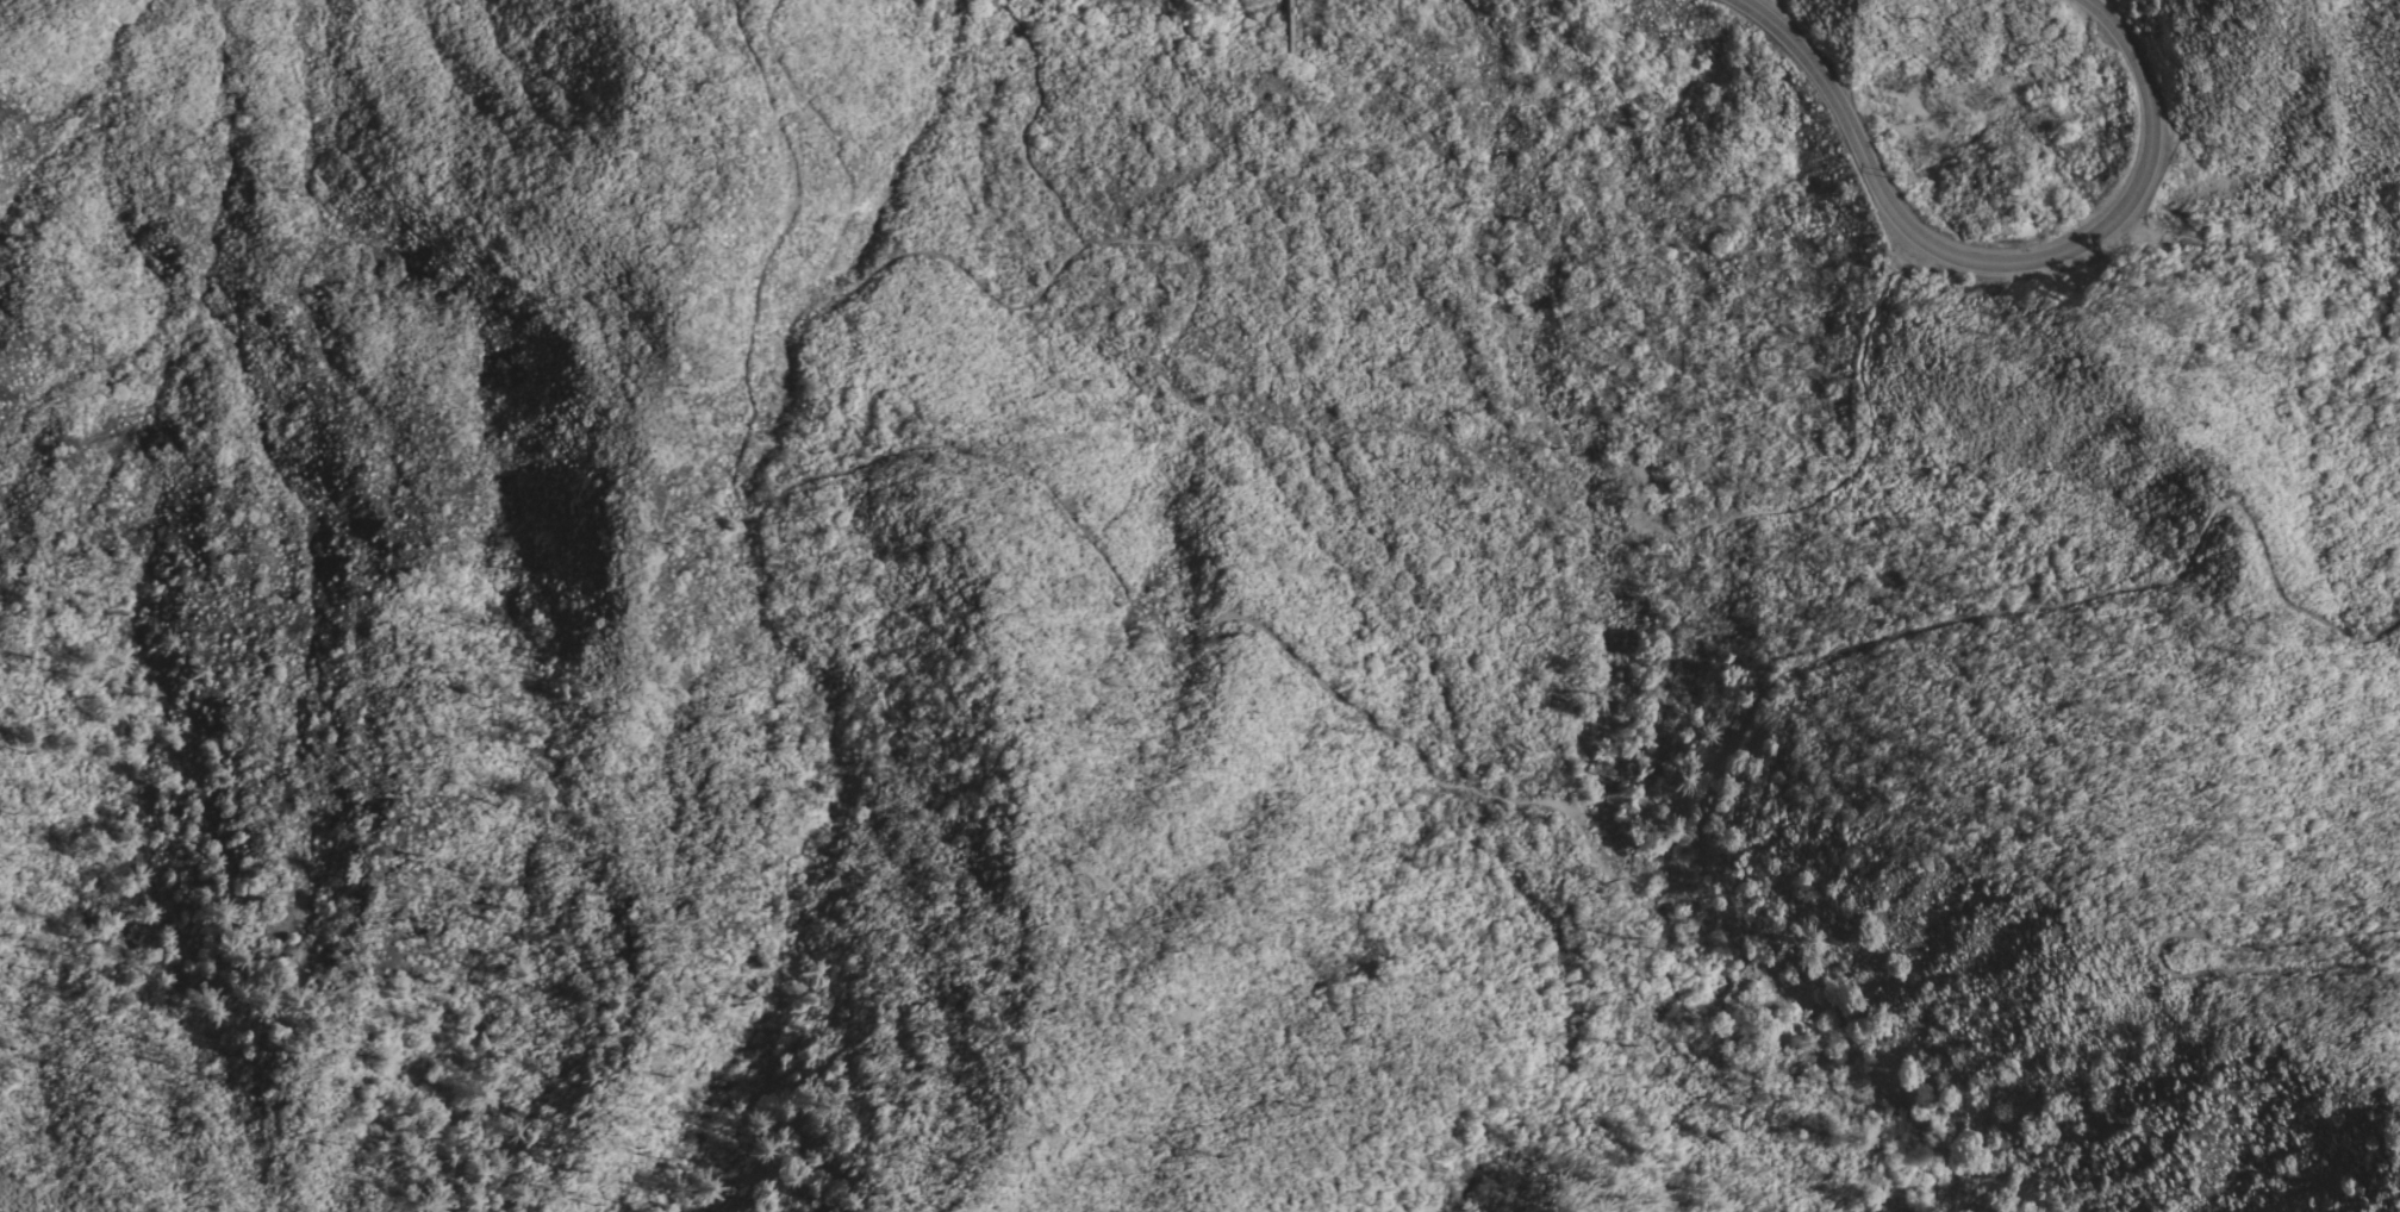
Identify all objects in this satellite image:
road: (955, 267)
road: (2002, 268)
road: (1868, 417)
road: (1330, 425)
road: (1670, 681)
road: (1385, 738)
road: (2155, 947)

